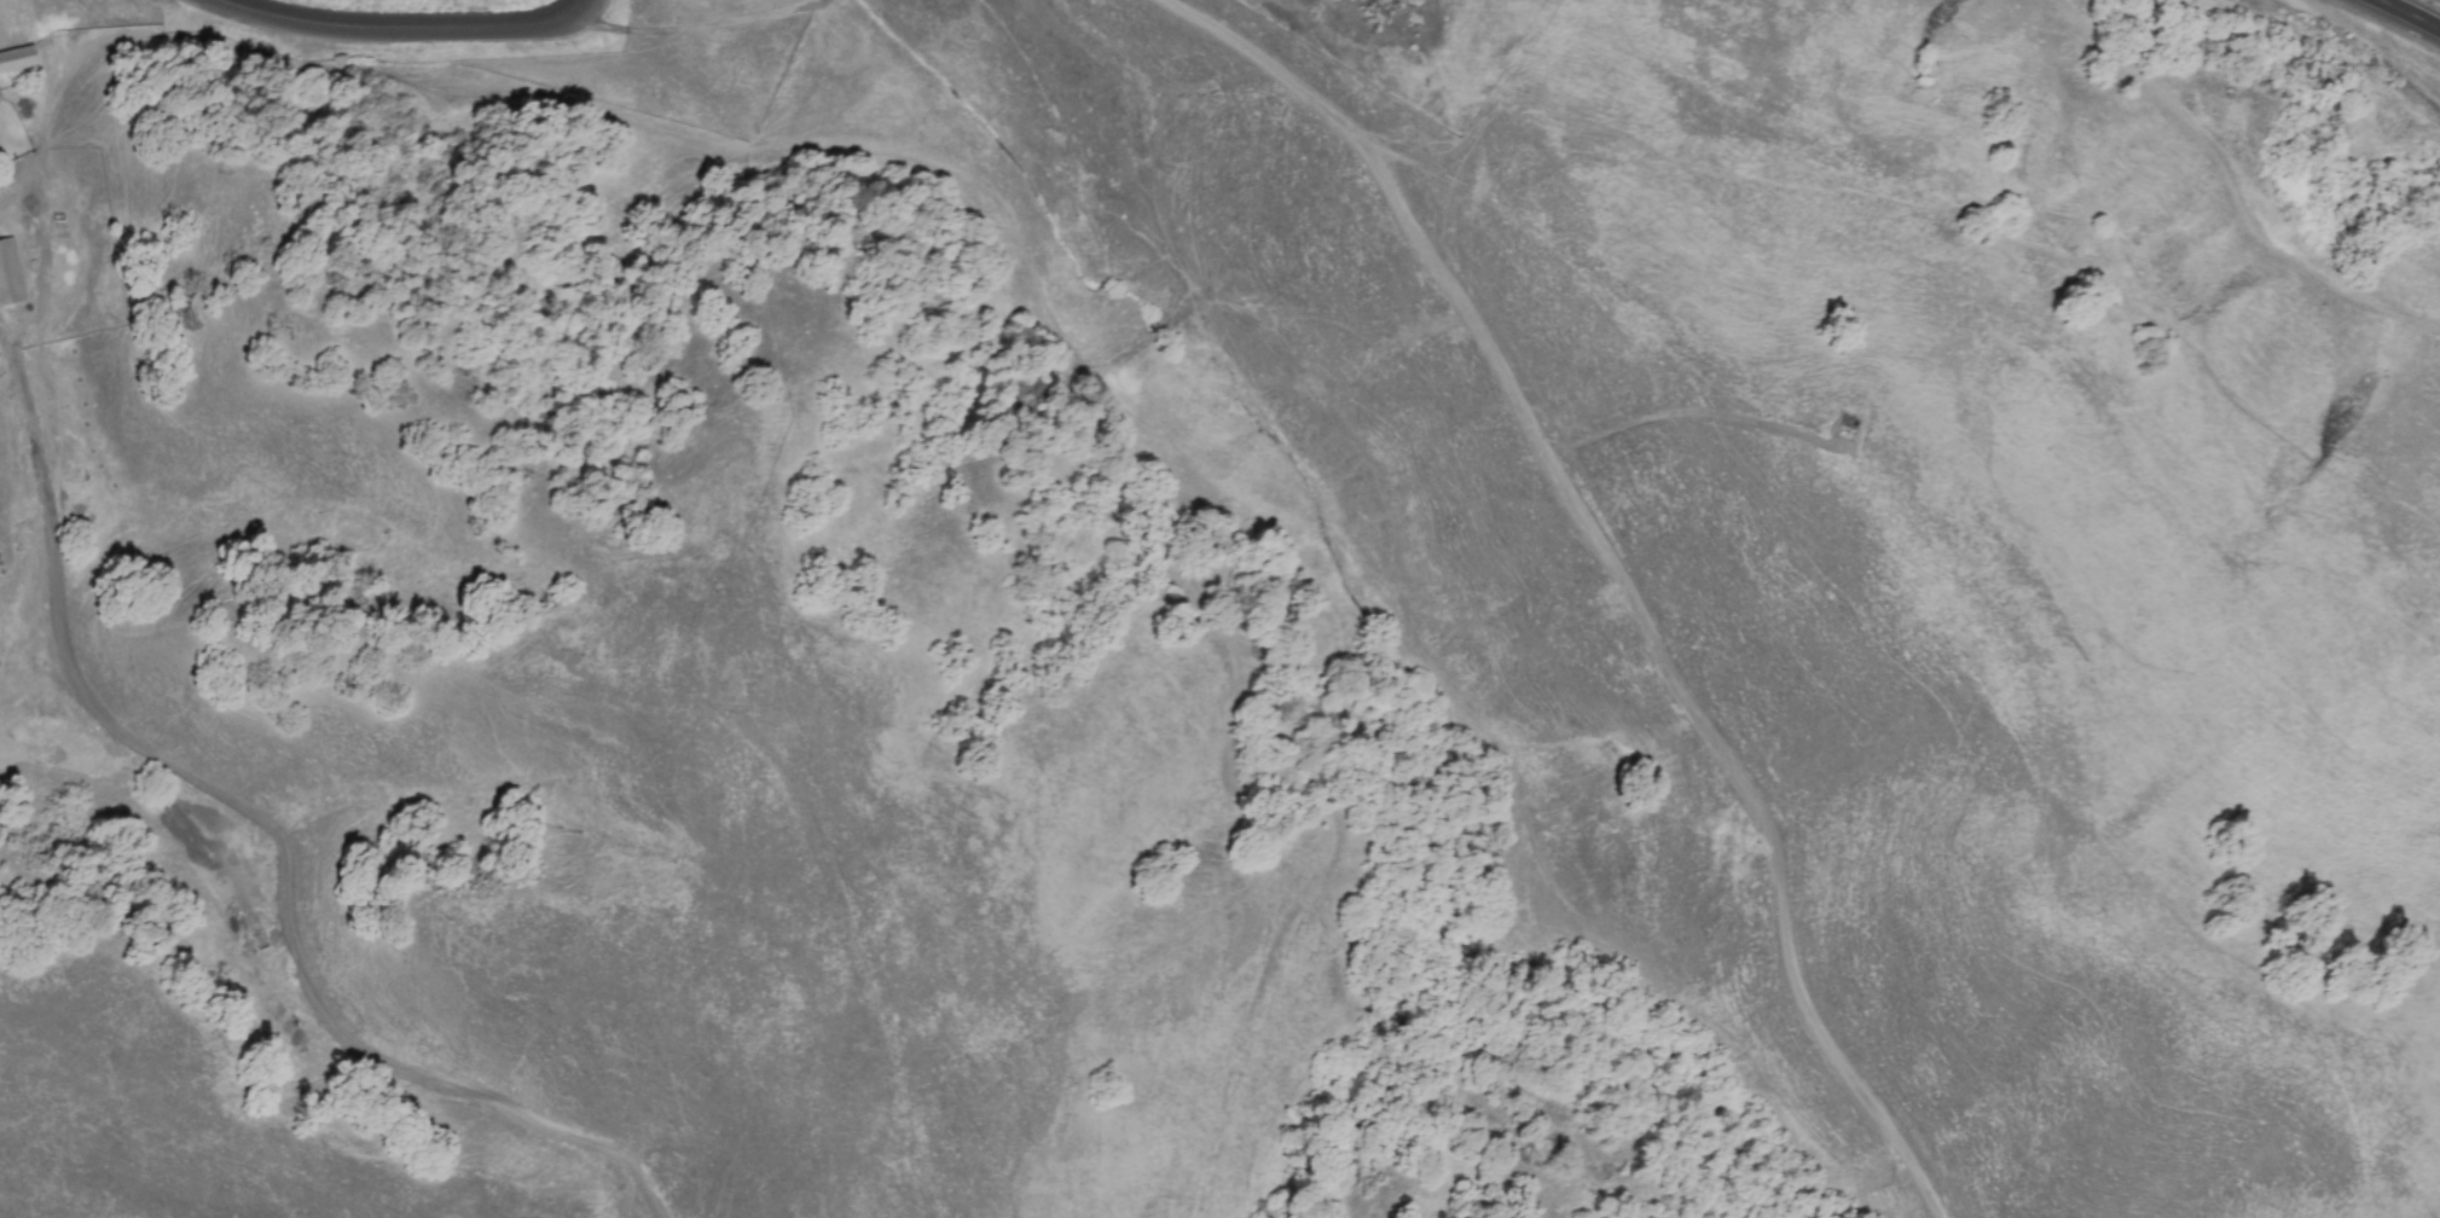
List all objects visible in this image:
road: (2410, 14)
road: (405, 25)
road: (700, 28)
building: (17, 58)
road: (2232, 192)
building: (10, 274)
road: (1677, 412)
road: (1060, 462)
road: (1612, 570)
crop: (1222, 623)
road: (27, 626)
road: (268, 835)

